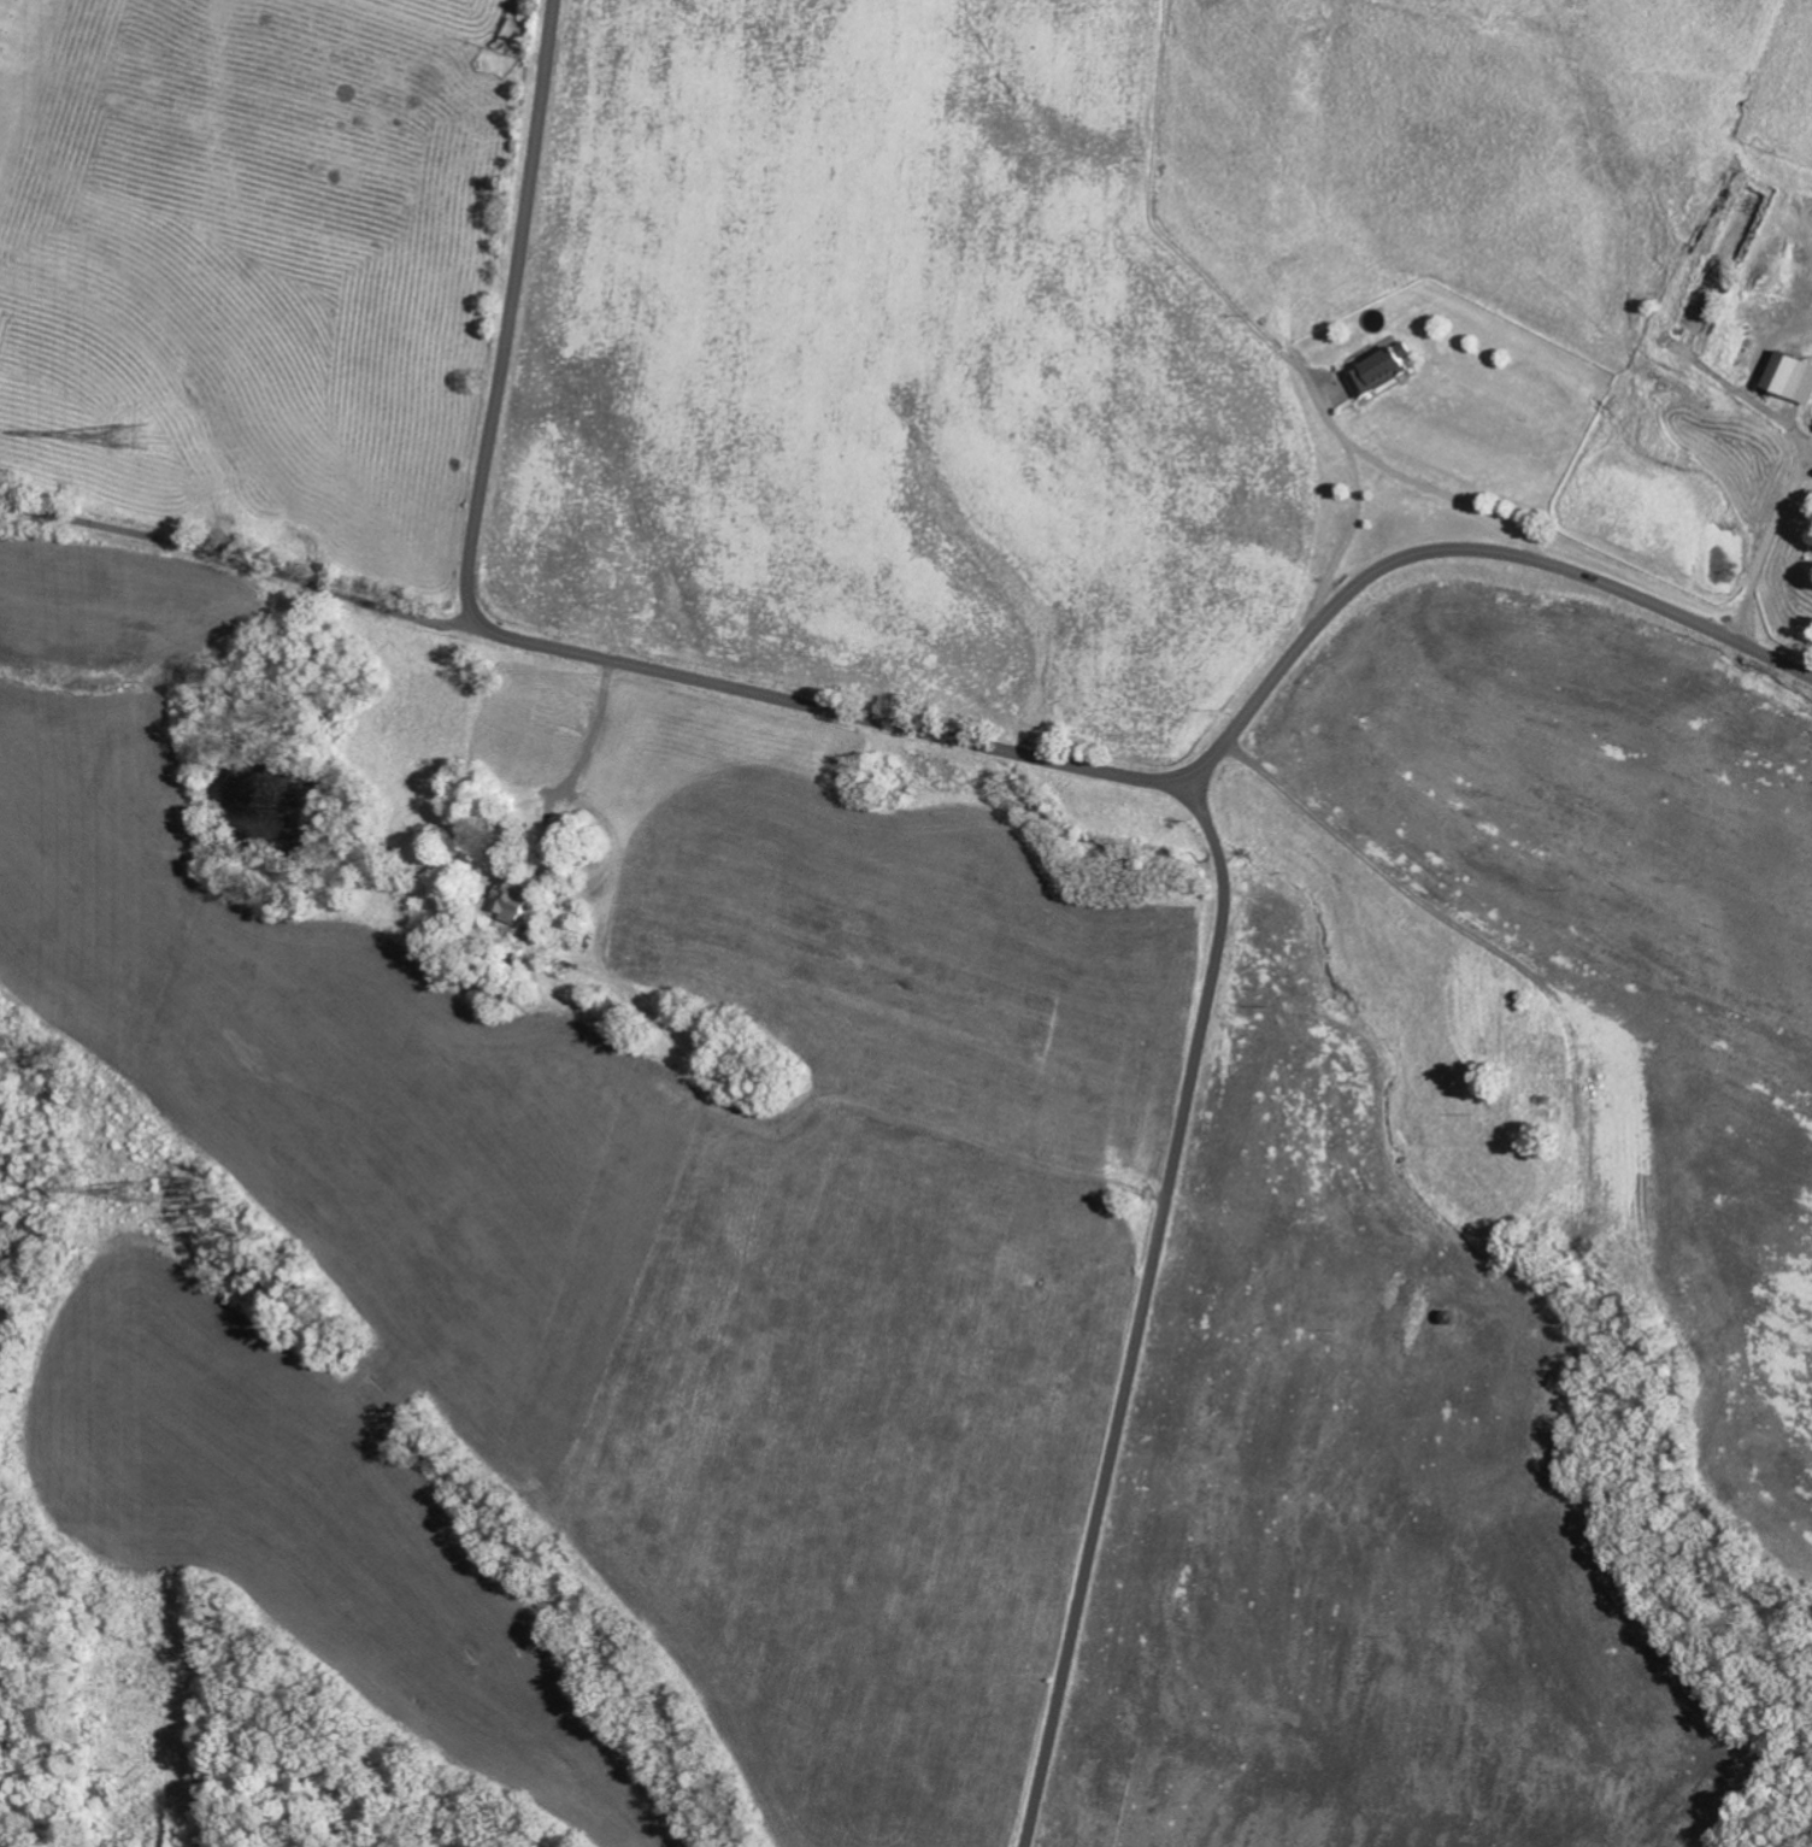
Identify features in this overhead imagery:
building: (1382, 372)
building: (1792, 377)
power tower: (139, 442)
road: (245, 564)
road: (886, 724)
road: (1389, 877)
building: (513, 900)
power tower: (133, 1190)
road: (1142, 1308)

